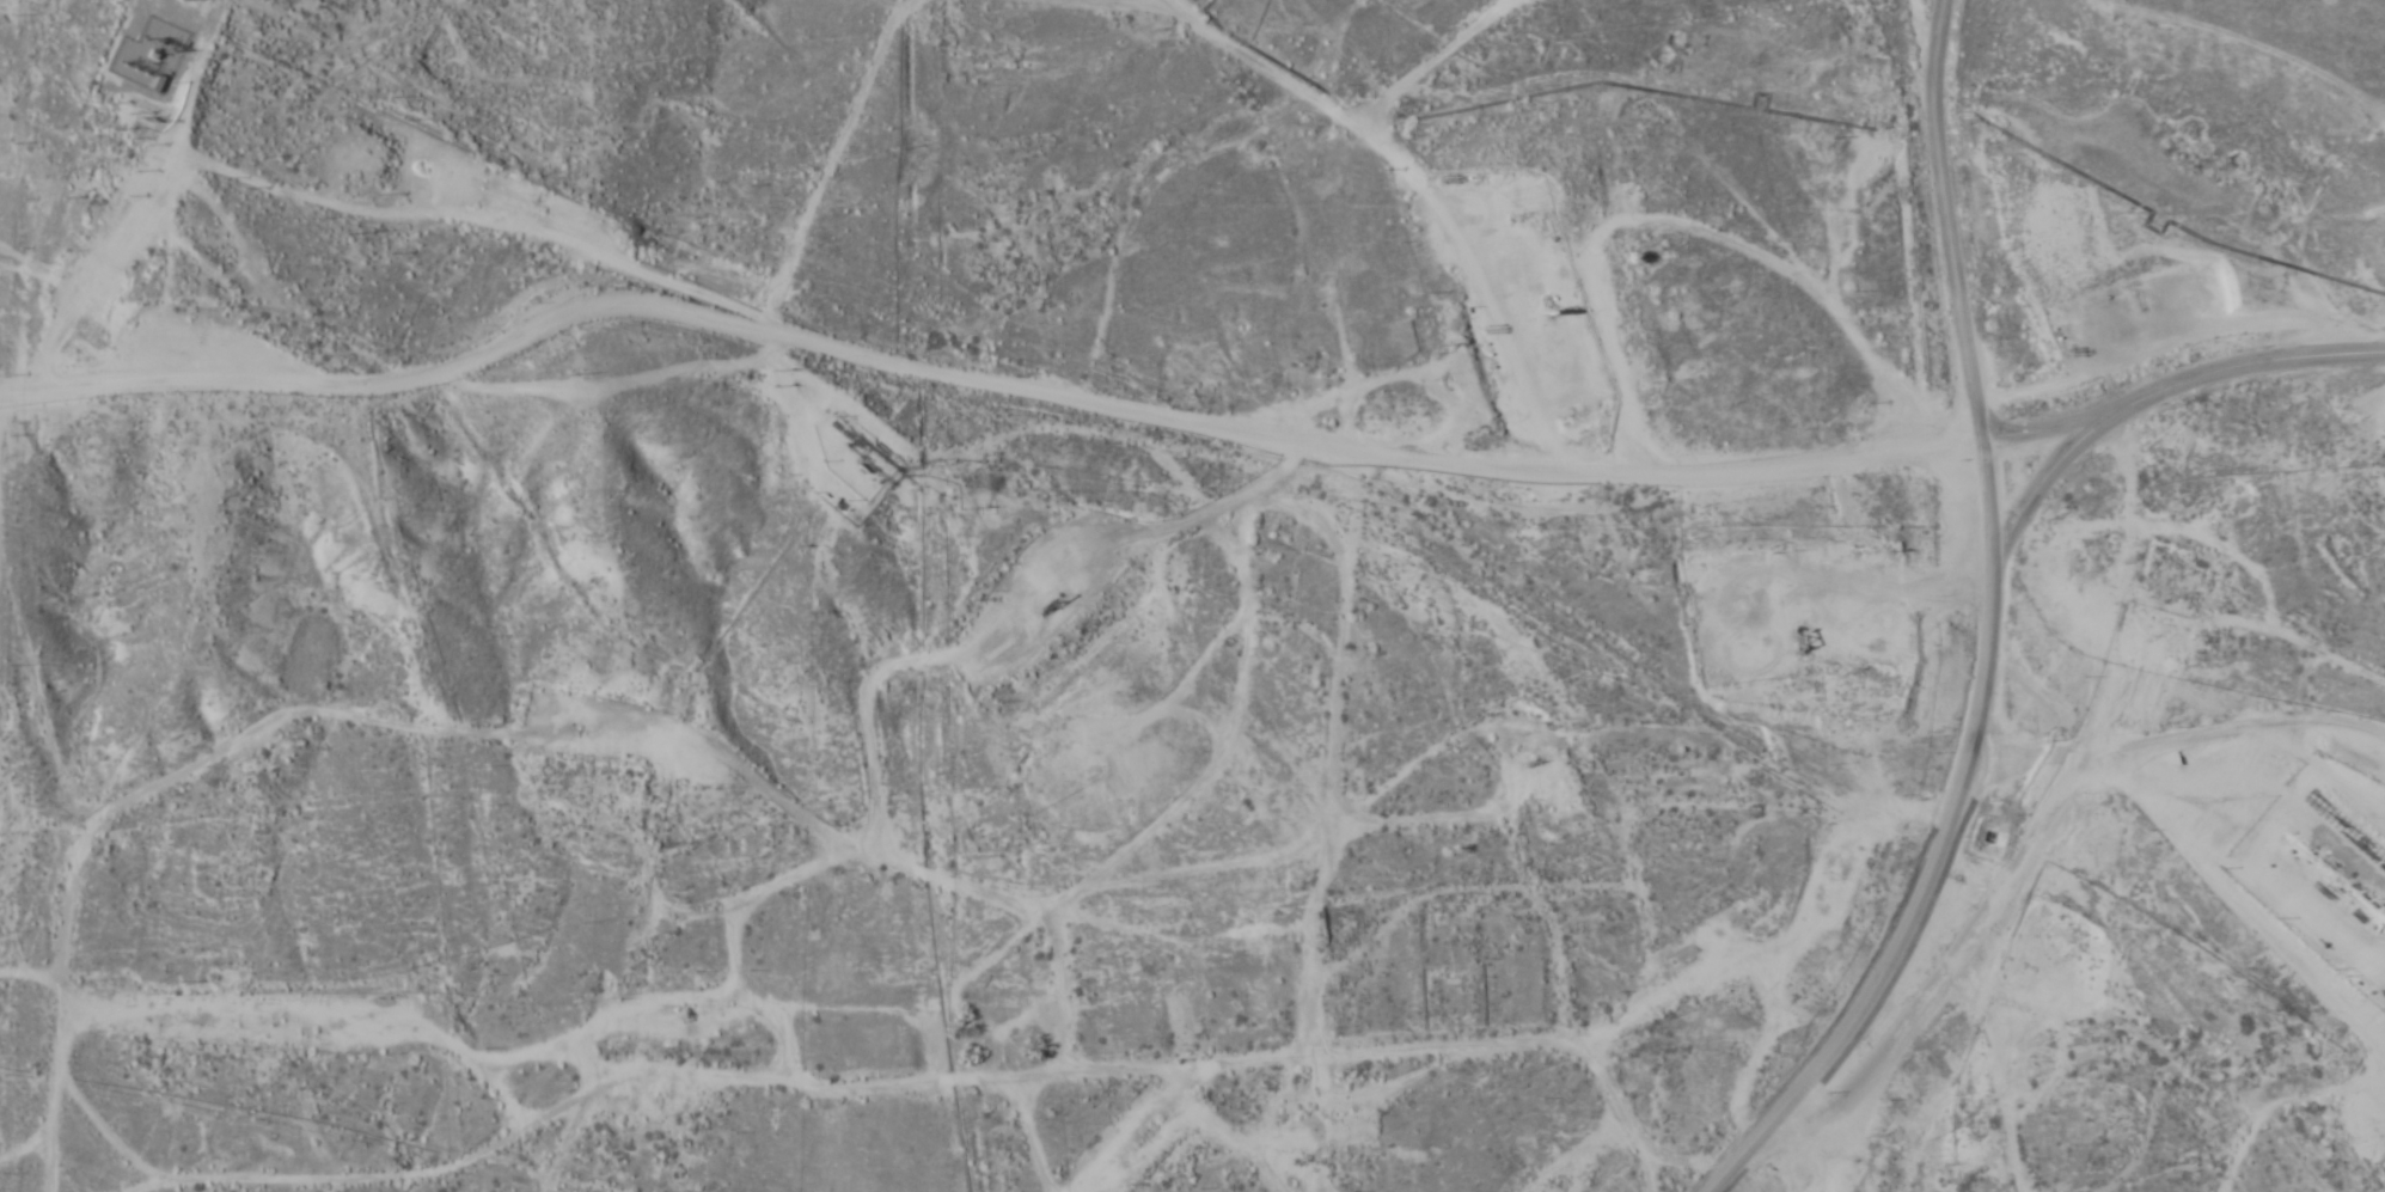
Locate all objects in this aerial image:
road: (2147, 395)
road: (2048, 424)
road: (990, 426)
road: (1986, 634)
road: (2187, 837)
road: (1939, 1065)
road: (1433, 1131)
road: (1020, 1165)

